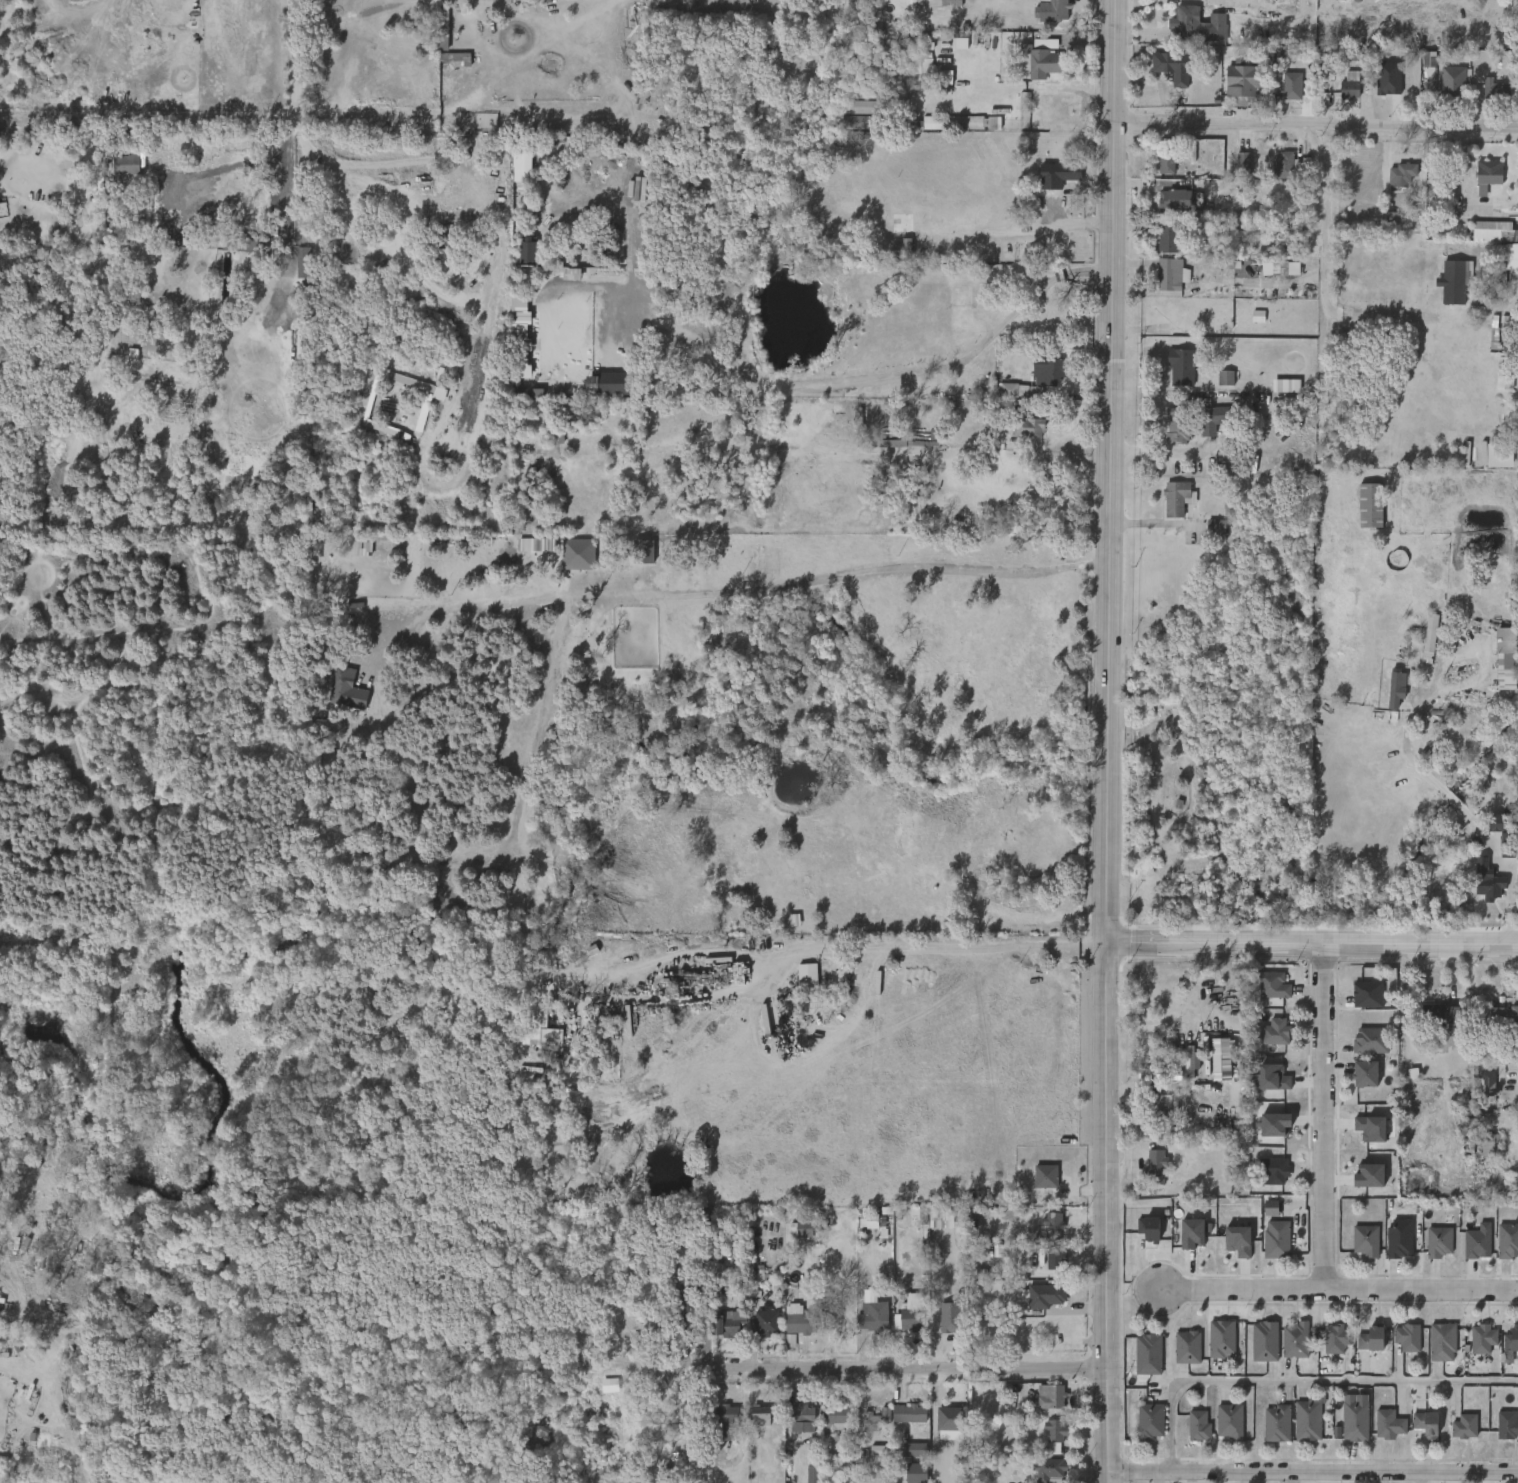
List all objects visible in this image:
building: (949, 2)
road: (1226, 3)
road: (1139, 4)
building: (1054, 10)
road: (134, 11)
road: (352, 15)
building: (1185, 22)
building: (1217, 26)
building: (457, 58)
building: (1358, 59)
building: (1035, 61)
road: (300, 65)
building: (1170, 66)
building: (1418, 69)
building: (912, 74)
building: (1162, 75)
building: (1245, 82)
building: (1350, 84)
building: (1497, 88)
building: (1293, 89)
building: (866, 91)
building: (1340, 92)
building: (1281, 98)
building: (1485, 98)
building: (1517, 99)
building: (861, 107)
building: (856, 122)
building: (955, 122)
road: (93, 128)
building: (846, 131)
building: (948, 131)
road: (1315, 131)
road: (378, 134)
building: (1165, 163)
building: (1285, 163)
building: (128, 165)
building: (1232, 170)
building: (1155, 171)
building: (1063, 172)
building: (117, 173)
building: (1275, 174)
building: (1401, 174)
building: (1486, 177)
building: (1048, 183)
building: (1391, 183)
road: (1460, 186)
road: (373, 195)
building: (1170, 199)
building: (1164, 208)
road: (1326, 221)
building: (1378, 227)
building: (1168, 236)
building: (1483, 240)
building: (1157, 245)
building: (898, 249)
building: (890, 257)
building: (518, 261)
building: (1274, 268)
building: (1170, 274)
building: (1270, 277)
building: (1442, 291)
building: (1485, 298)
building: (1247, 324)
building: (1180, 365)
building: (1049, 371)
building: (1171, 376)
road: (789, 385)
building: (1216, 386)
building: (1025, 388)
building: (1012, 390)
building: (603, 391)
building: (1278, 394)
building: (1206, 421)
building: (1174, 426)
building: (1029, 427)
building: (1022, 436)
building: (1167, 441)
road: (1110, 471)
building: (1179, 498)
building: (1368, 505)
building: (1205, 535)
building: (522, 552)
building: (568, 562)
road: (746, 593)
building: (1429, 637)
building: (1419, 646)
building: (332, 694)
building: (1384, 697)
building: (1508, 836)
building: (1491, 842)
building: (1486, 880)
road: (1511, 887)
building: (1476, 889)
road: (1188, 943)
road: (1394, 944)
road: (759, 974)
building: (1221, 976)
building: (1270, 984)
building: (1264, 993)
building: (1357, 1002)
building: (1440, 1014)
building: (1502, 1015)
building: (1434, 1023)
building: (1273, 1032)
building: (532, 1033)
building: (1369, 1040)
building: (1215, 1059)
building: (1180, 1068)
building: (1362, 1074)
building: (1263, 1085)
building: (1477, 1092)
building: (1155, 1106)
road: (1322, 1116)
building: (1264, 1132)
building: (1360, 1136)
building: (1490, 1143)
building: (1155, 1167)
building: (1273, 1170)
building: (1147, 1172)
building: (1359, 1183)
building: (1035, 1184)
road: (1107, 1212)
building: (1260, 1215)
building: (1146, 1227)
building: (799, 1228)
building: (931, 1228)
building: (1053, 1228)
building: (872, 1229)
building: (791, 1236)
building: (1399, 1237)
building: (1275, 1239)
building: (1364, 1239)
building: (1507, 1239)
building: (1182, 1240)
building: (1438, 1241)
building: (1478, 1243)
building: (1228, 1248)
building: (1355, 1248)
building: (1429, 1249)
building: (1467, 1250)
building: (1053, 1257)
building: (1045, 1267)
road: (1342, 1289)
building: (1044, 1295)
building: (947, 1314)
building: (871, 1316)
building: (796, 1319)
building: (909, 1320)
building: (764, 1321)
building: (728, 1324)
building: (685, 1325)
building: (941, 1325)
building: (788, 1328)
building: (899, 1328)
building: (756, 1331)
building: (1407, 1336)
building: (1334, 1337)
building: (1481, 1337)
building: (1369, 1338)
building: (1511, 1338)
building: (1221, 1339)
building: (1294, 1339)
building: (1263, 1340)
building: (1441, 1340)
building: (1397, 1345)
building: (1186, 1346)
building: (1325, 1346)
building: (1472, 1346)
building: (1361, 1347)
building: (1432, 1350)
building: (1146, 1353)
building: (1177, 1355)
road: (895, 1367)
road: (1306, 1383)
building: (600, 1393)
building: (1050, 1395)
building: (1041, 1404)
building: (907, 1413)
building: (758, 1414)
building: (800, 1417)
building: (1353, 1418)
building: (725, 1419)
building: (833, 1419)
building: (945, 1419)
building: (1306, 1420)
building: (1231, 1421)
building: (899, 1422)
building: (1151, 1422)
building: (1275, 1422)
building: (750, 1423)
building: (1388, 1423)
building: (1425, 1423)
building: (792, 1425)
building: (1197, 1425)
building: (1506, 1425)
building: (1463, 1426)
building: (936, 1427)
building: (1220, 1429)
building: (1416, 1431)
building: (1379, 1432)
building: (1189, 1433)
building: (1498, 1433)
building: (1454, 1434)
building: (1055, 1436)
building: (1044, 1443)
building: (678, 1452)
building: (665, 1466)
building: (1051, 1468)
road: (1313, 1472)
building: (1040, 1474)
building: (802, 1478)

